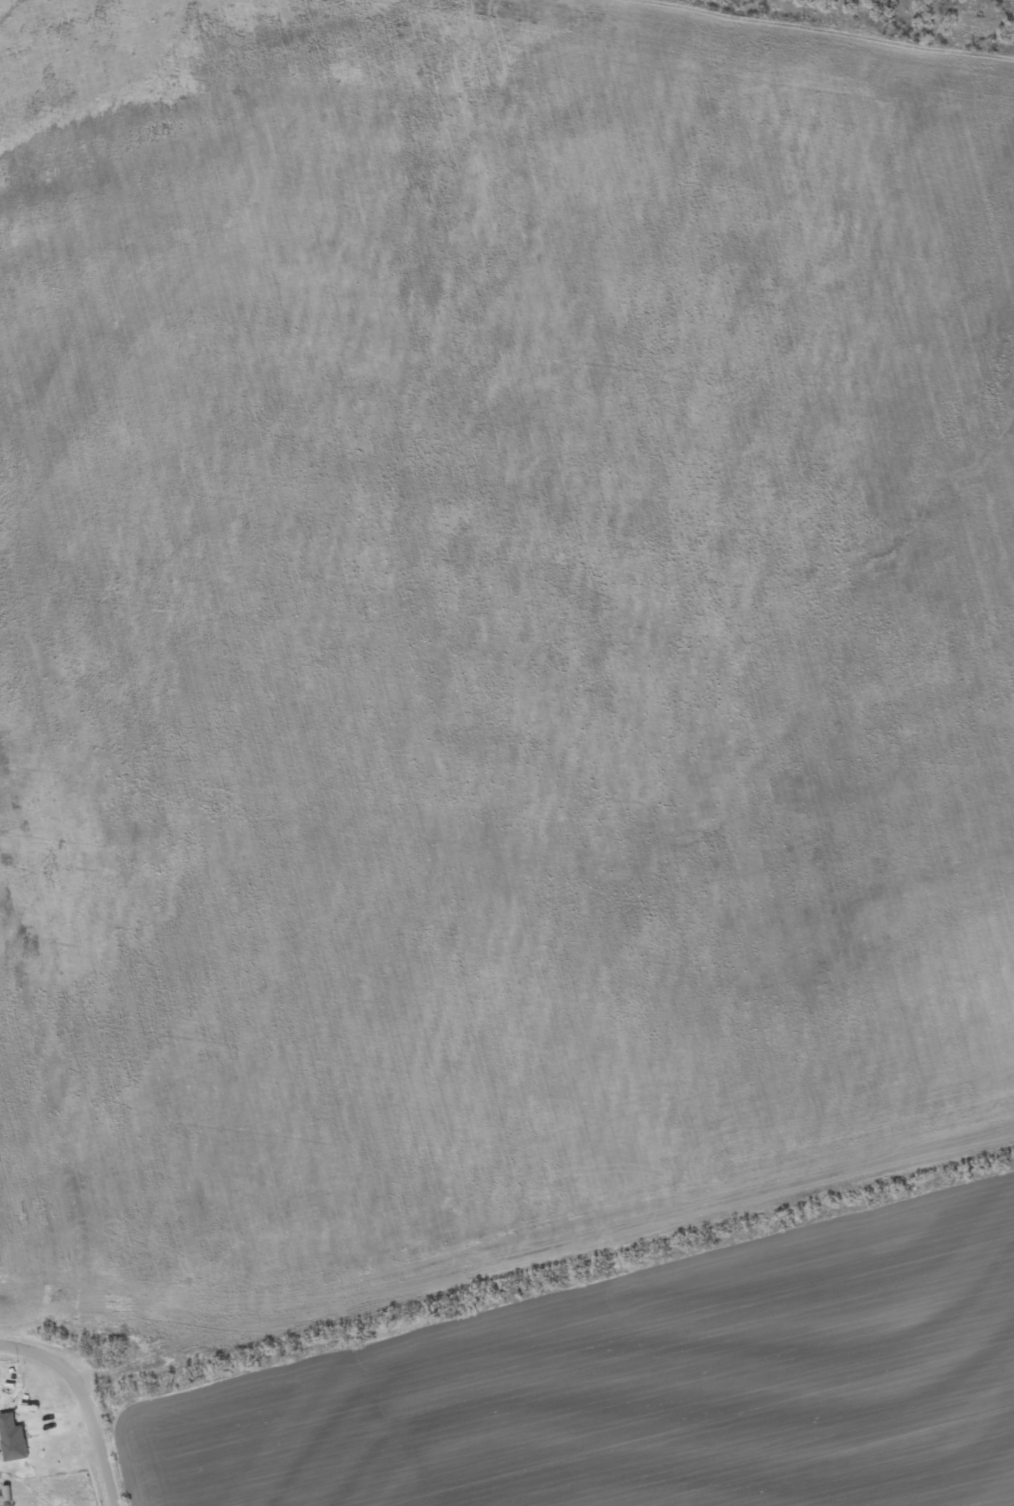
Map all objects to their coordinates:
road: (79, 1405)

